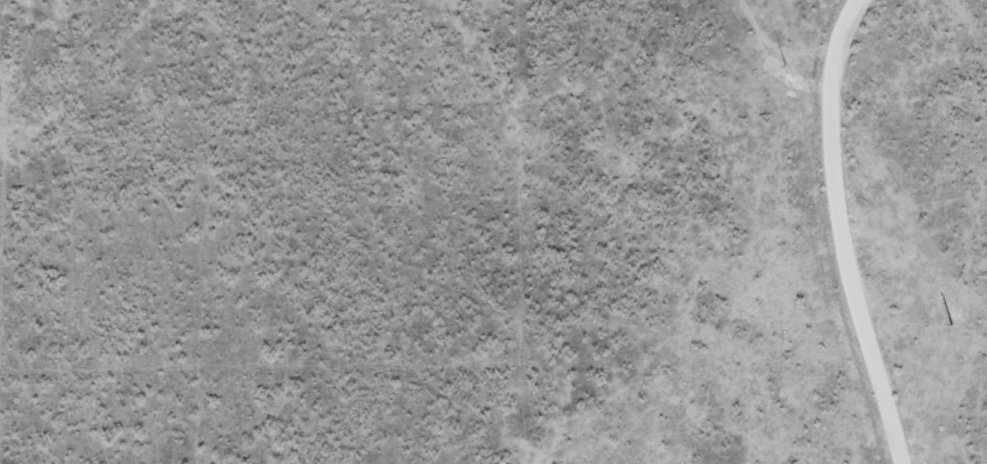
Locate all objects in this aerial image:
road: (839, 225)

